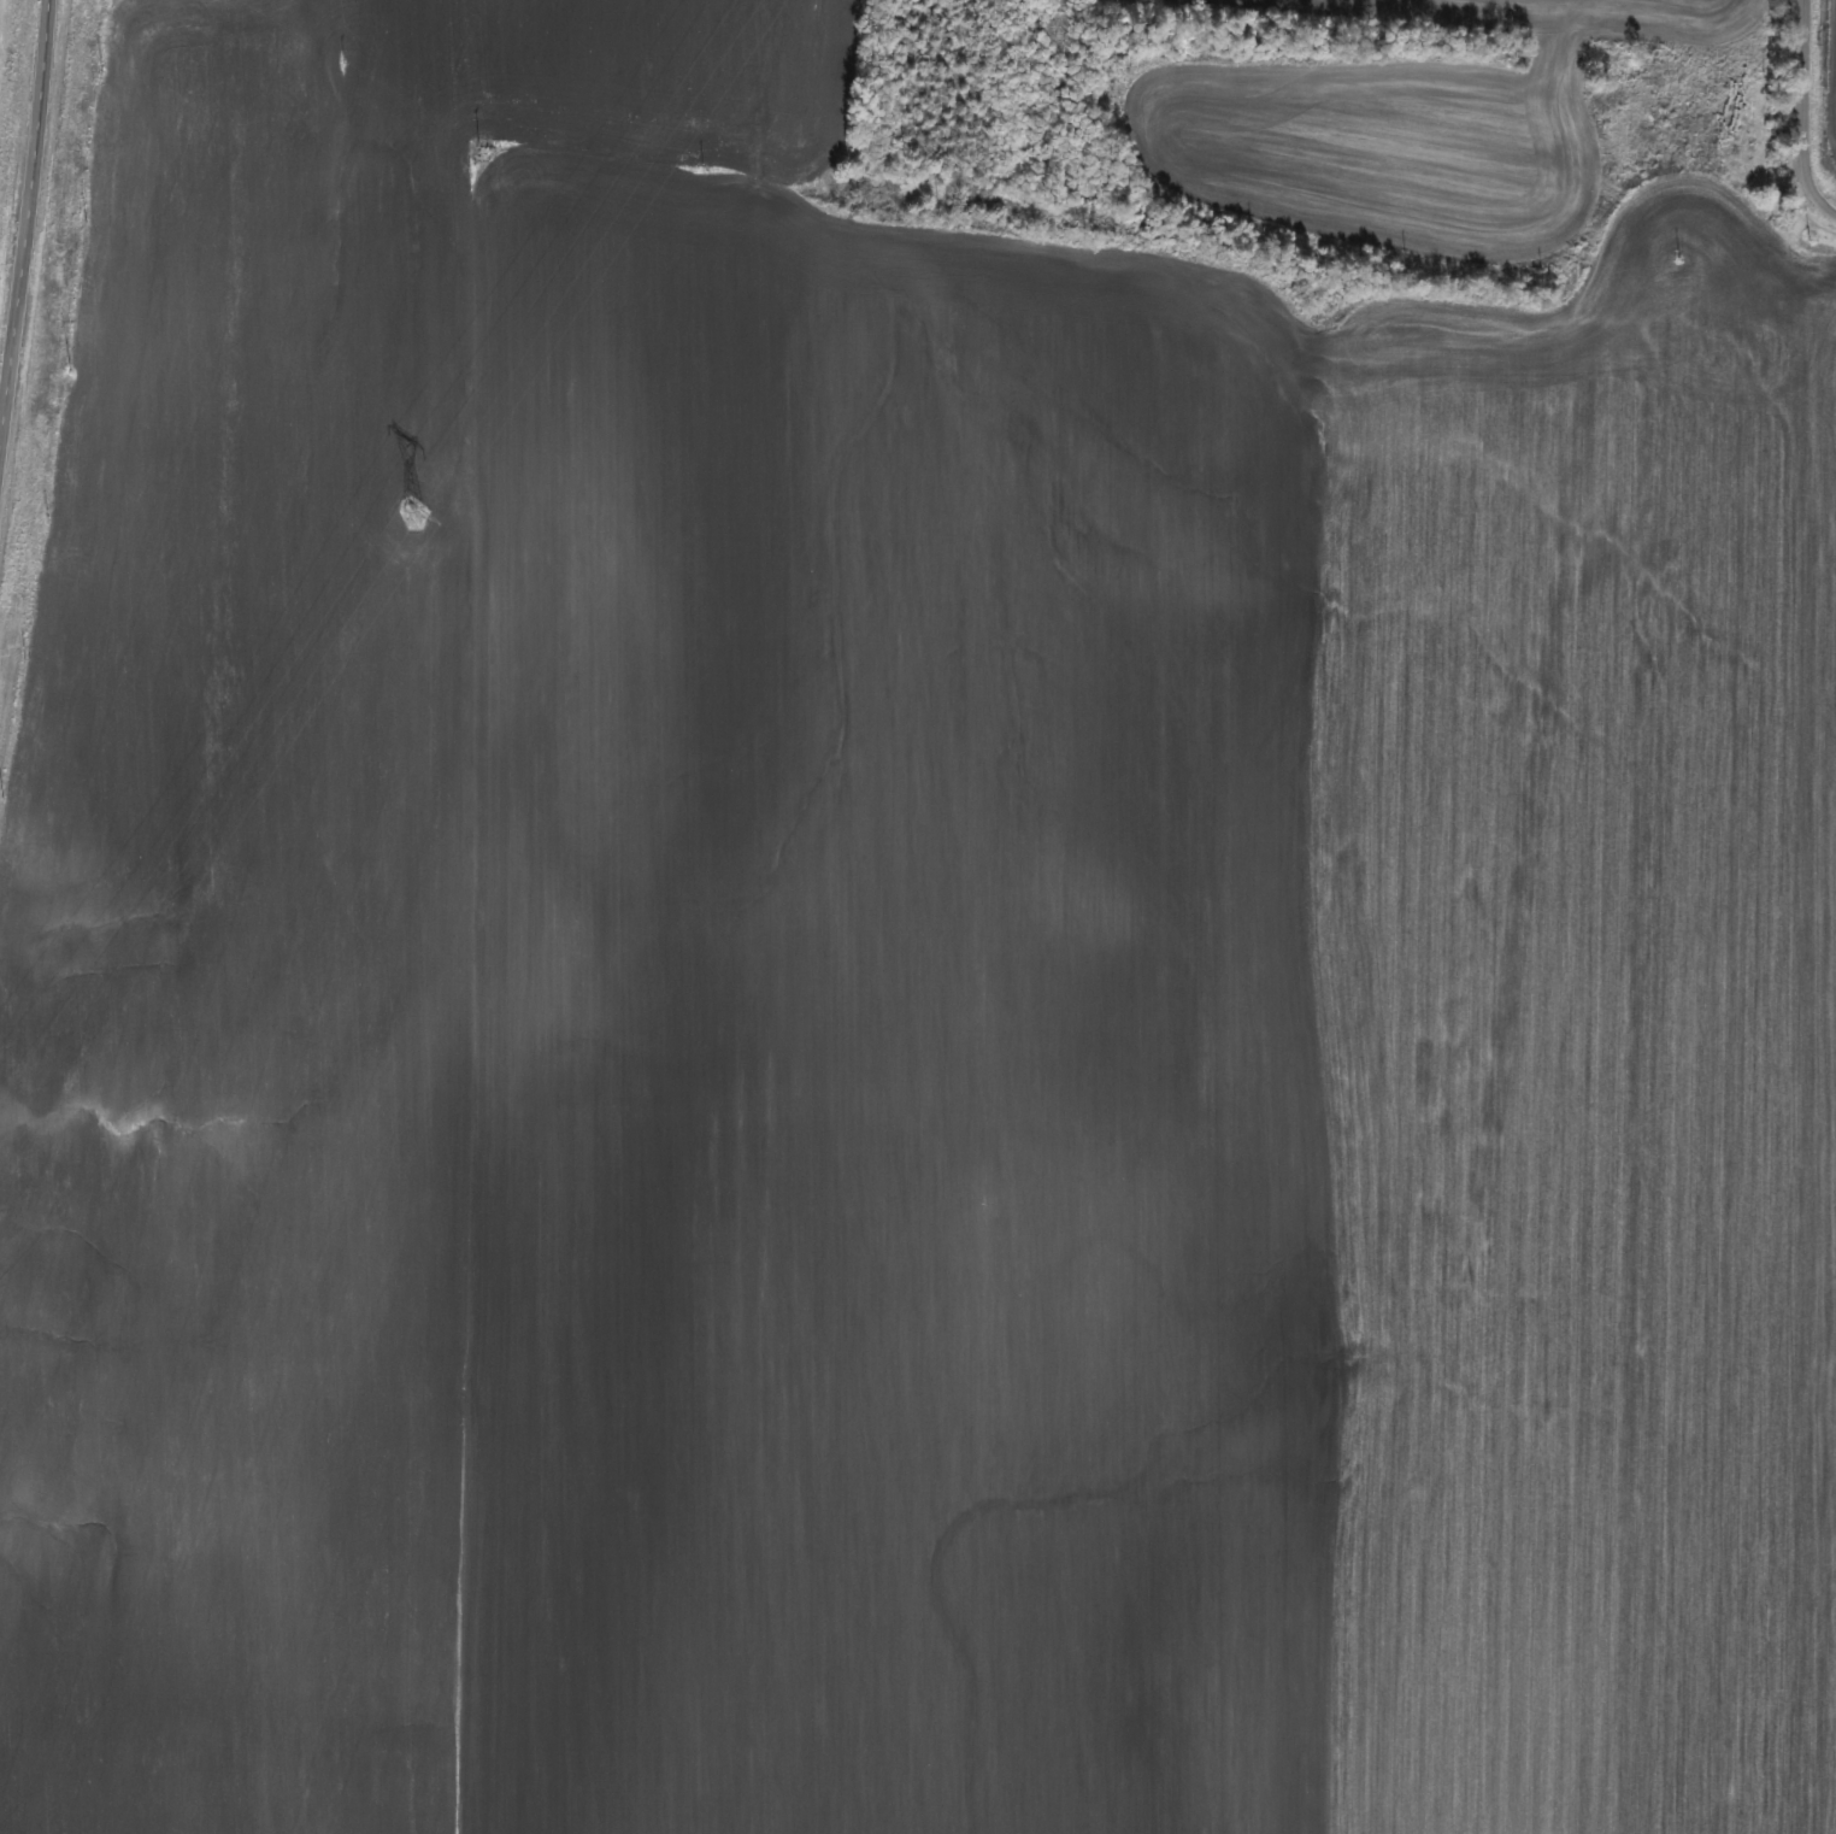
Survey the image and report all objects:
road: (1800, 120)
building: (1731, 140)
road: (24, 207)
power tower: (407, 513)

